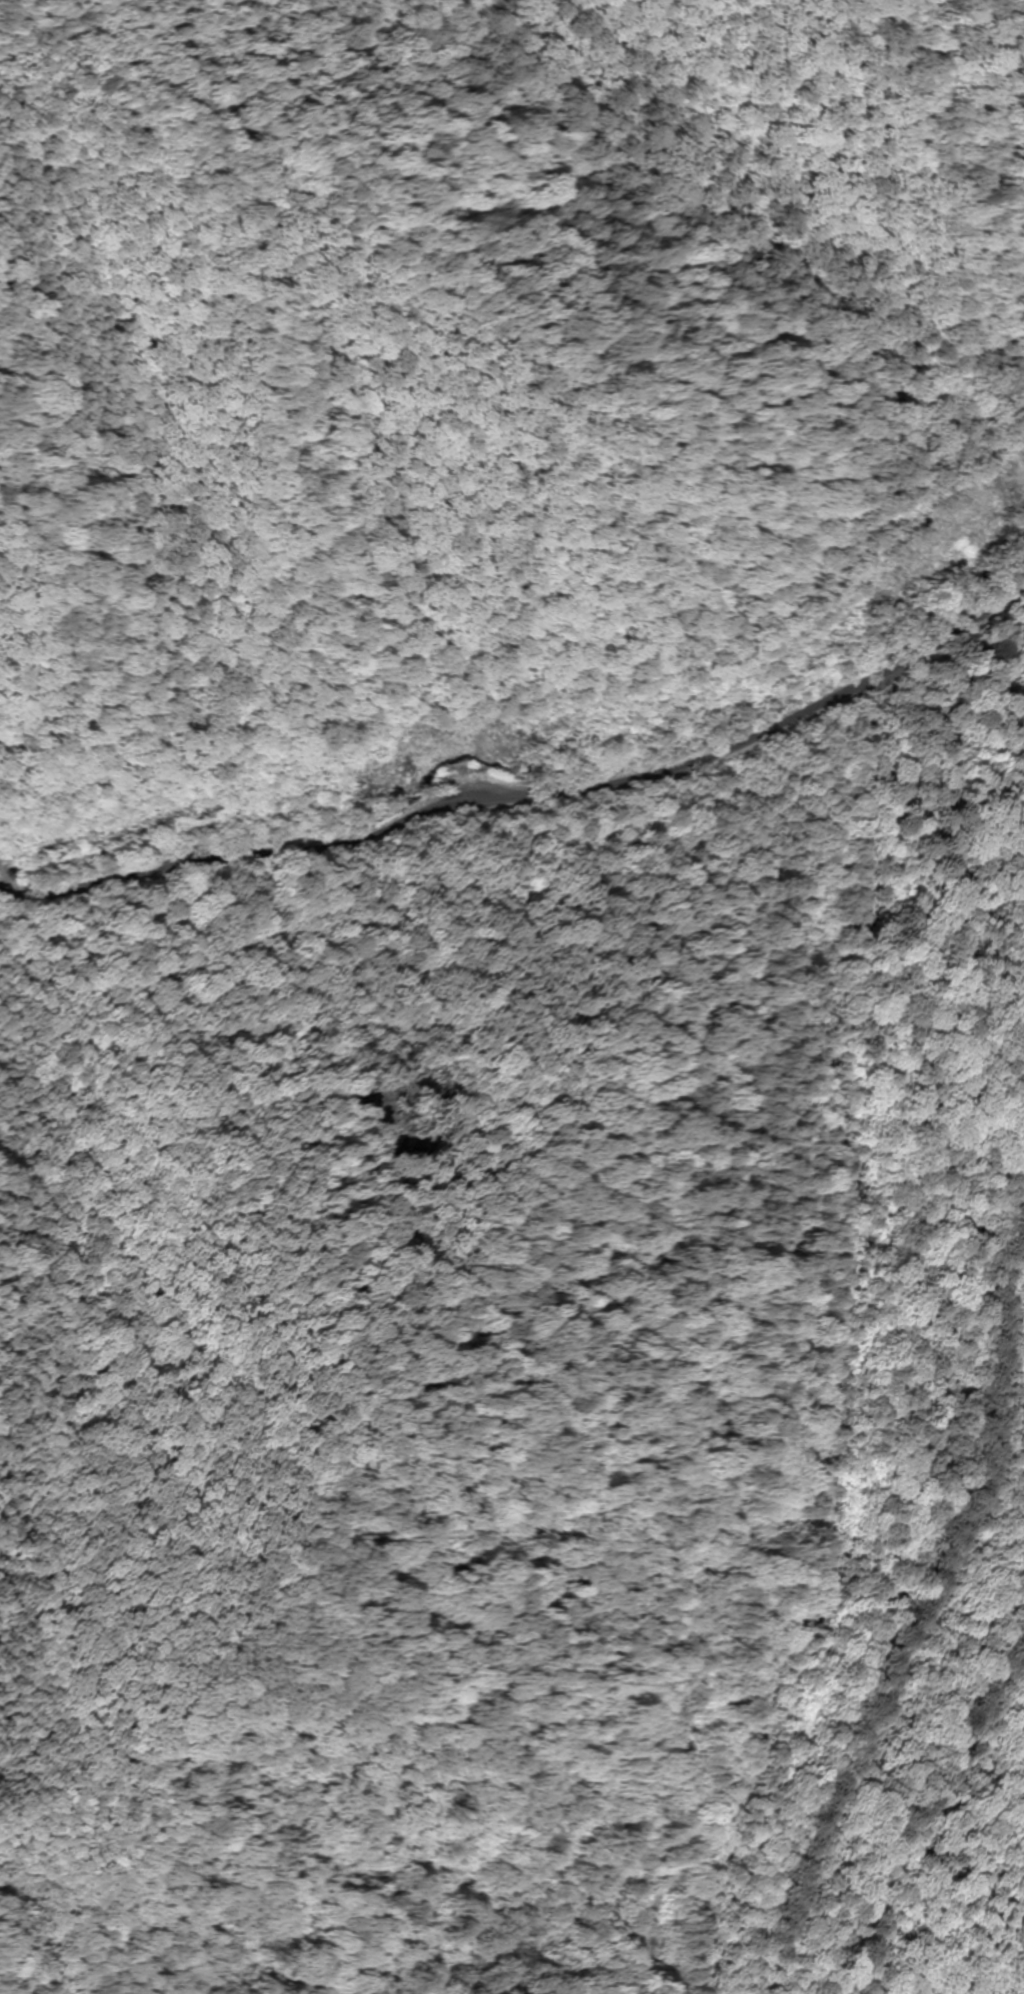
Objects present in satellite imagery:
road: (61, 74)
road: (527, 791)
road: (826, 1343)
road: (59, 1908)

